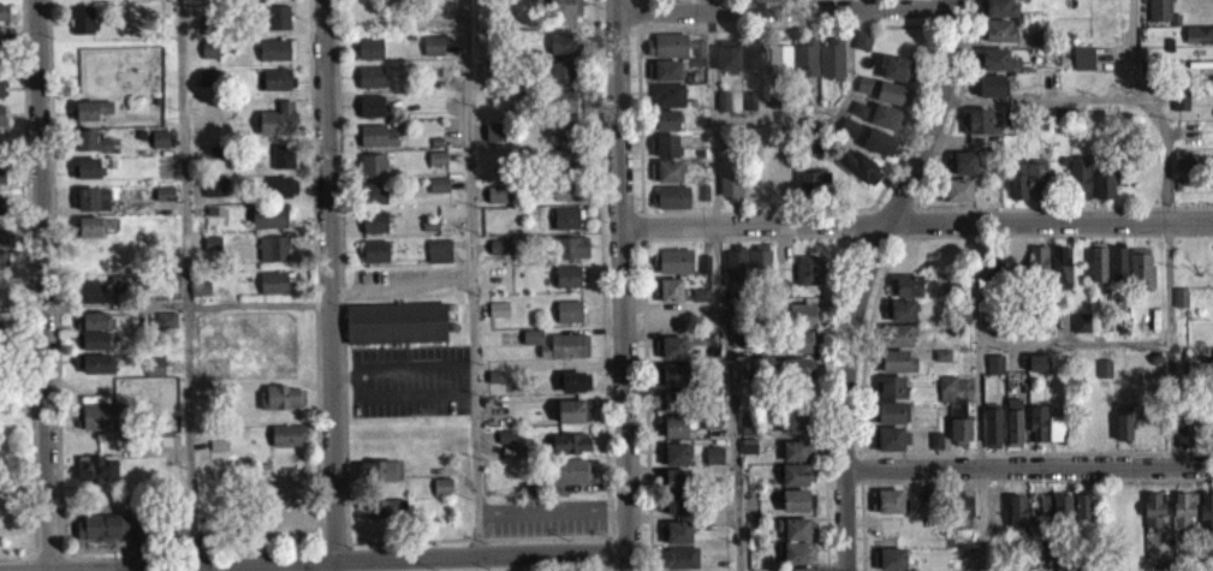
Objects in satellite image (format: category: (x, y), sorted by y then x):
building: (148, 2)
road: (309, 7)
road: (784, 7)
building: (999, 7)
building: (1160, 8)
road: (23, 14)
building: (563, 17)
building: (2, 20)
road: (334, 23)
building: (274, 24)
building: (81, 28)
building: (998, 29)
building: (1041, 35)
building: (561, 40)
building: (1197, 42)
building: (369, 46)
building: (861, 49)
building: (560, 52)
building: (432, 54)
building: (1084, 55)
building: (369, 56)
building: (674, 56)
building: (208, 58)
building: (995, 58)
building: (726, 65)
building: (778, 65)
building: (751, 67)
building: (804, 67)
building: (830, 67)
building: (1082, 67)
building: (1149, 67)
building: (561, 69)
building: (997, 69)
building: (370, 73)
building: (893, 76)
building: (662, 79)
building: (560, 81)
building: (991, 84)
building: (369, 85)
building: (277, 88)
building: (204, 89)
building: (0, 96)
road: (1041, 97)
building: (564, 99)
building: (879, 99)
building: (1182, 100)
building: (370, 103)
building: (666, 103)
building: (87, 108)
building: (750, 108)
building: (563, 111)
building: (1179, 111)
building: (1058, 113)
building: (370, 114)
road: (832, 115)
building: (90, 118)
building: (856, 118)
building: (1036, 118)
building: (977, 119)
building: (1, 124)
building: (884, 125)
building: (277, 127)
building: (494, 127)
building: (563, 127)
building: (1189, 127)
building: (665, 129)
building: (371, 132)
building: (849, 136)
building: (563, 139)
building: (1187, 139)
building: (1, 142)
building: (494, 143)
building: (375, 144)
road: (466, 147)
building: (157, 148)
building: (90, 150)
building: (878, 150)
building: (0, 154)
building: (436, 155)
building: (665, 155)
building: (564, 156)
building: (1187, 159)
building: (216, 161)
building: (373, 162)
building: (964, 162)
building: (281, 165)
building: (87, 166)
building: (435, 167)
building: (2, 169)
building: (1184, 169)
building: (962, 172)
building: (371, 173)
building: (1081, 174)
building: (858, 176)
building: (1037, 176)
building: (88, 177)
building: (1018, 177)
building: (1107, 178)
building: (667, 179)
building: (438, 182)
building: (2, 183)
building: (565, 186)
building: (957, 189)
building: (373, 190)
building: (497, 190)
building: (813, 191)
building: (438, 194)
building: (730, 194)
building: (280, 195)
building: (1102, 195)
building: (213, 196)
building: (565, 198)
building: (162, 202)
building: (371, 202)
building: (495, 203)
building: (2, 204)
building: (671, 206)
building: (91, 208)
building: (1, 215)
building: (566, 216)
road: (917, 218)
building: (374, 220)
building: (88, 225)
building: (269, 226)
building: (566, 227)
road: (1169, 227)
building: (2, 231)
road: (1056, 231)
building: (108, 234)
road: (742, 234)
building: (88, 236)
building: (2, 243)
building: (440, 245)
building: (571, 245)
building: (375, 249)
road: (783, 249)
building: (498, 255)
building: (274, 256)
building: (570, 256)
building: (2, 258)
building: (373, 260)
building: (438, 260)
building: (674, 260)
building: (761, 261)
building: (1099, 261)
building: (704, 262)
building: (737, 262)
building: (1040, 262)
building: (1119, 262)
building: (1018, 263)
building: (1062, 266)
building: (1143, 266)
building: (810, 268)
building: (993, 268)
building: (567, 274)
road: (329, 278)
road: (862, 278)
road: (881, 278)
road: (186, 280)
road: (42, 282)
building: (783, 284)
building: (906, 284)
building: (566, 285)
road: (624, 285)
road: (643, 285)
road: (721, 285)
building: (955, 286)
building: (671, 290)
building: (275, 291)
building: (702, 293)
building: (906, 295)
building: (1182, 295)
building: (198, 297)
building: (783, 298)
building: (96, 299)
building: (698, 303)
building: (567, 308)
building: (900, 308)
road: (258, 313)
building: (803, 314)
building: (497, 317)
building: (670, 317)
building: (567, 320)
building: (900, 320)
building: (1082, 320)
building: (1122, 321)
building: (165, 328)
building: (94, 329)
building: (394, 332)
building: (1081, 332)
building: (898, 333)
building: (739, 334)
building: (798, 340)
road: (1075, 340)
building: (531, 346)
building: (671, 346)
building: (94, 349)
building: (944, 352)
road: (469, 353)
building: (567, 353)
building: (897, 359)
building: (1039, 361)
building: (997, 362)
building: (1105, 365)
road: (400, 367)
building: (796, 367)
building: (897, 370)
building: (1036, 371)
building: (96, 373)
building: (994, 373)
building: (678, 374)
building: (739, 374)
building: (154, 375)
building: (1102, 377)
building: (793, 379)
building: (949, 381)
building: (670, 383)
road: (826, 383)
building: (890, 386)
building: (573, 391)
road: (404, 394)
road: (979, 394)
building: (673, 399)
building: (281, 406)
building: (570, 410)
building: (891, 411)
building: (1194, 412)
building: (1128, 417)
building: (713, 421)
building: (796, 421)
building: (961, 421)
building: (1016, 421)
building: (1046, 422)
building: (994, 423)
building: (97, 426)
building: (673, 426)
building: (750, 427)
building: (792, 432)
building: (1185, 434)
building: (890, 438)
building: (938, 438)
building: (286, 444)
building: (749, 444)
building: (505, 446)
building: (934, 448)
building: (797, 450)
road: (1036, 450)
building: (569, 452)
building: (715, 452)
building: (676, 453)
building: (795, 459)
building: (713, 464)
road: (1027, 464)
building: (796, 474)
road: (1036, 476)
building: (95, 477)
building: (674, 478)
building: (379, 480)
building: (567, 481)
building: (441, 495)
building: (797, 499)
building: (890, 501)
building: (961, 501)
building: (1063, 501)
building: (677, 504)
building: (1082, 506)
building: (1185, 506)
building: (997, 507)
building: (1155, 507)
building: (1019, 508)
building: (1207, 511)
building: (961, 515)
building: (1041, 516)
building: (379, 518)
building: (1060, 518)
road: (551, 521)
building: (797, 528)
building: (677, 531)
building: (100, 535)
building: (176, 539)
building: (798, 552)
building: (891, 553)
building: (680, 557)
building: (1209, 557)
road: (315, 558)
building: (1088, 563)
road: (337, 564)
building: (1065, 564)
building: (798, 569)
building: (893, 569)

